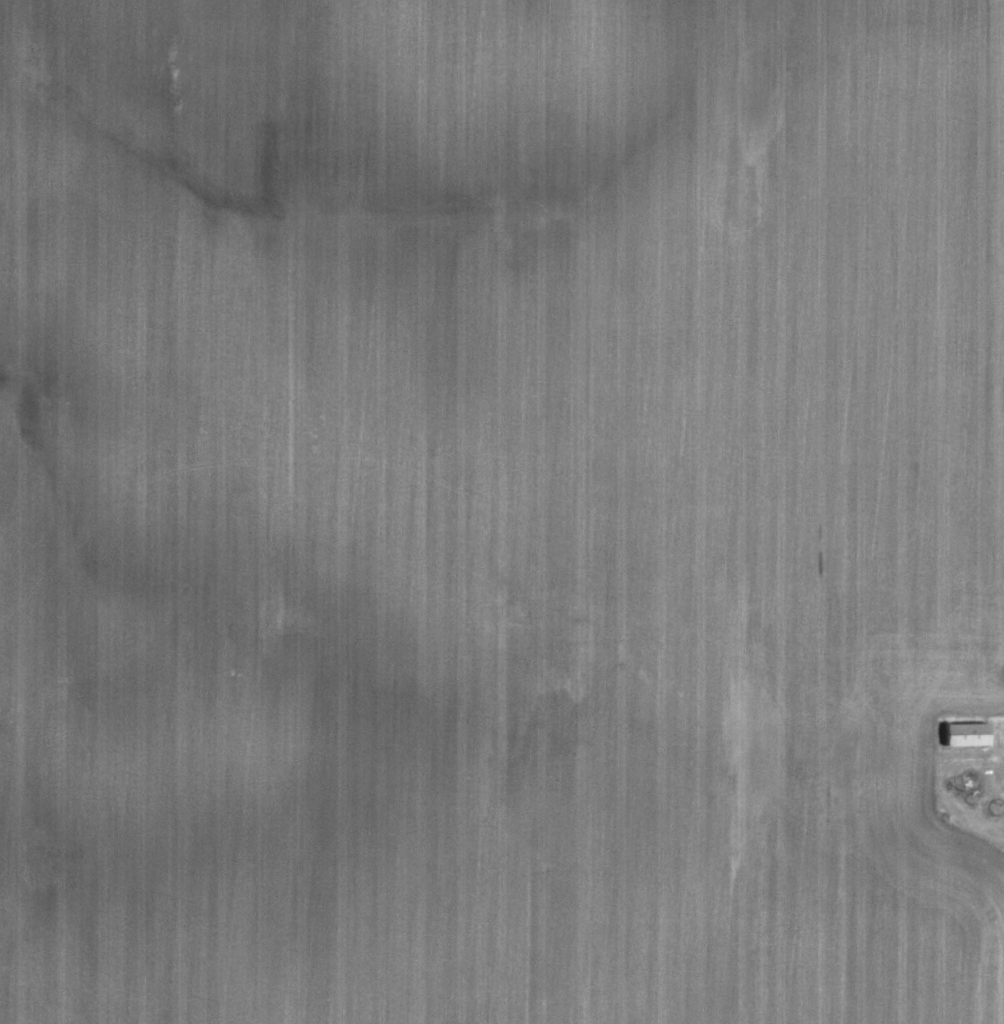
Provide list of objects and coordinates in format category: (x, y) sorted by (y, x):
building: (964, 735)

